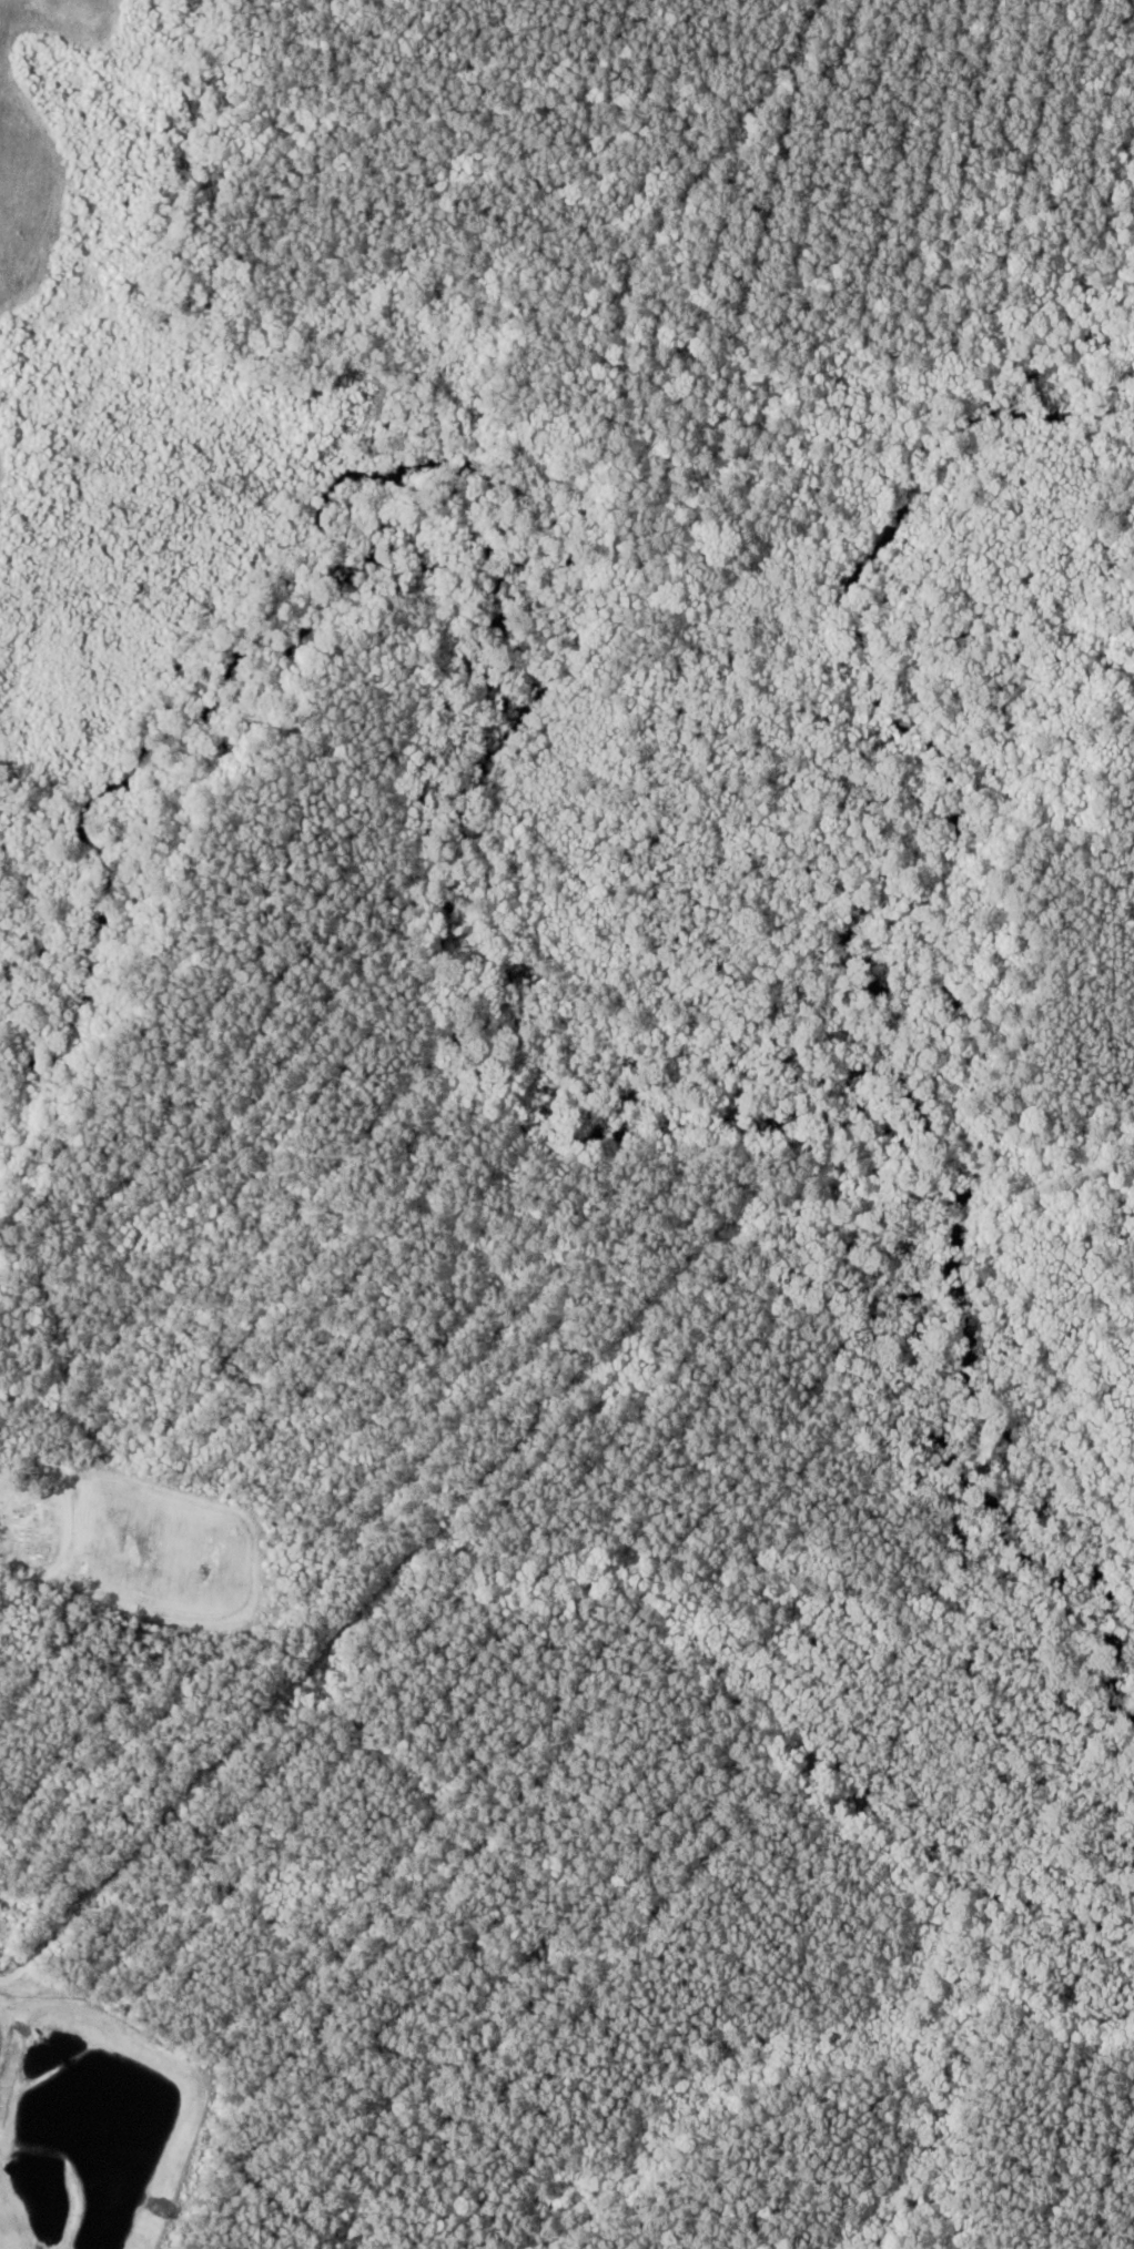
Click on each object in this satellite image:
wastewater plant: (89, 2126)

